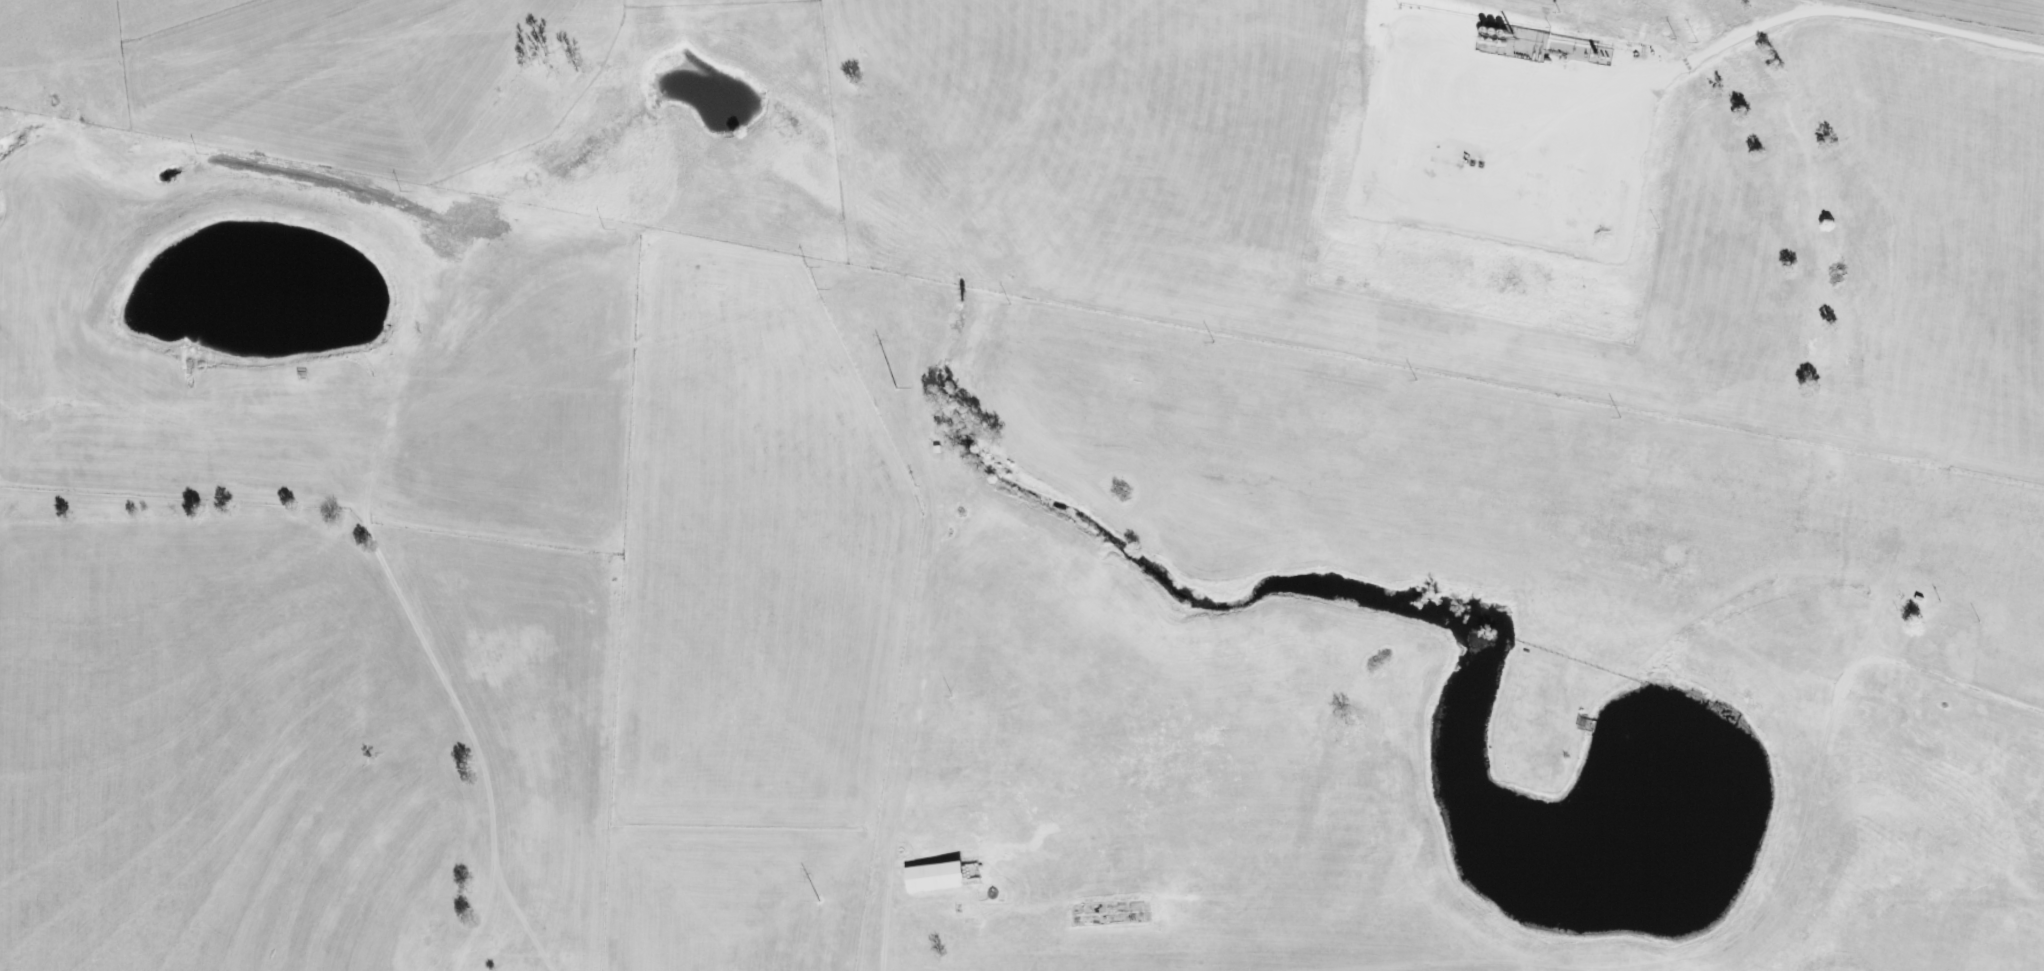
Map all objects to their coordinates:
road: (1829, 8)
power tower: (895, 389)
building: (935, 876)
power tower: (818, 903)

